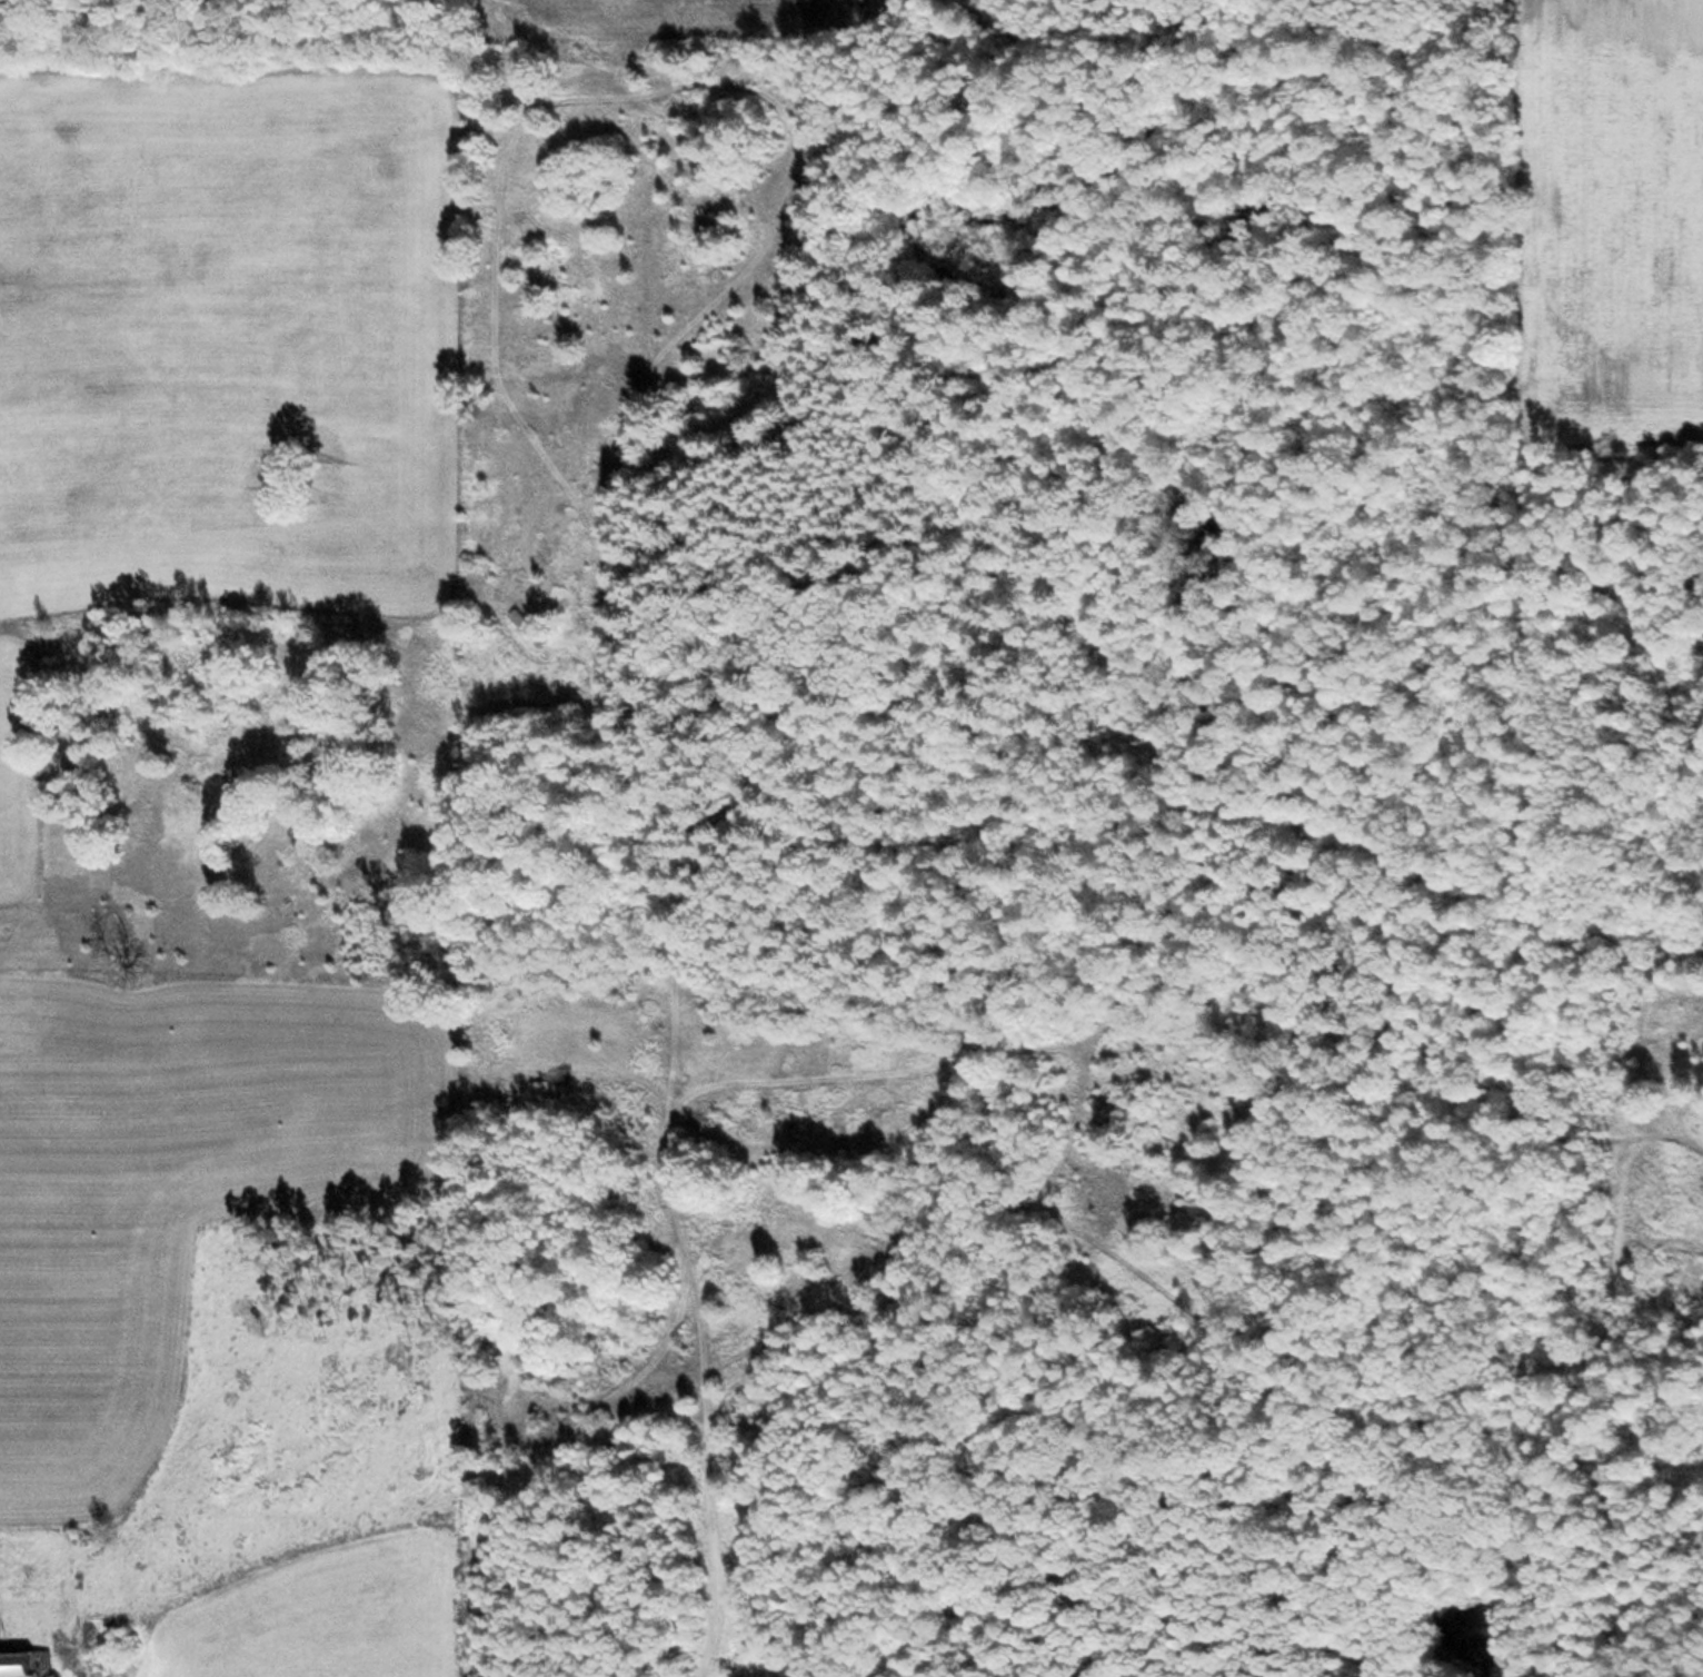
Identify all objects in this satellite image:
building: (13, 1665)

